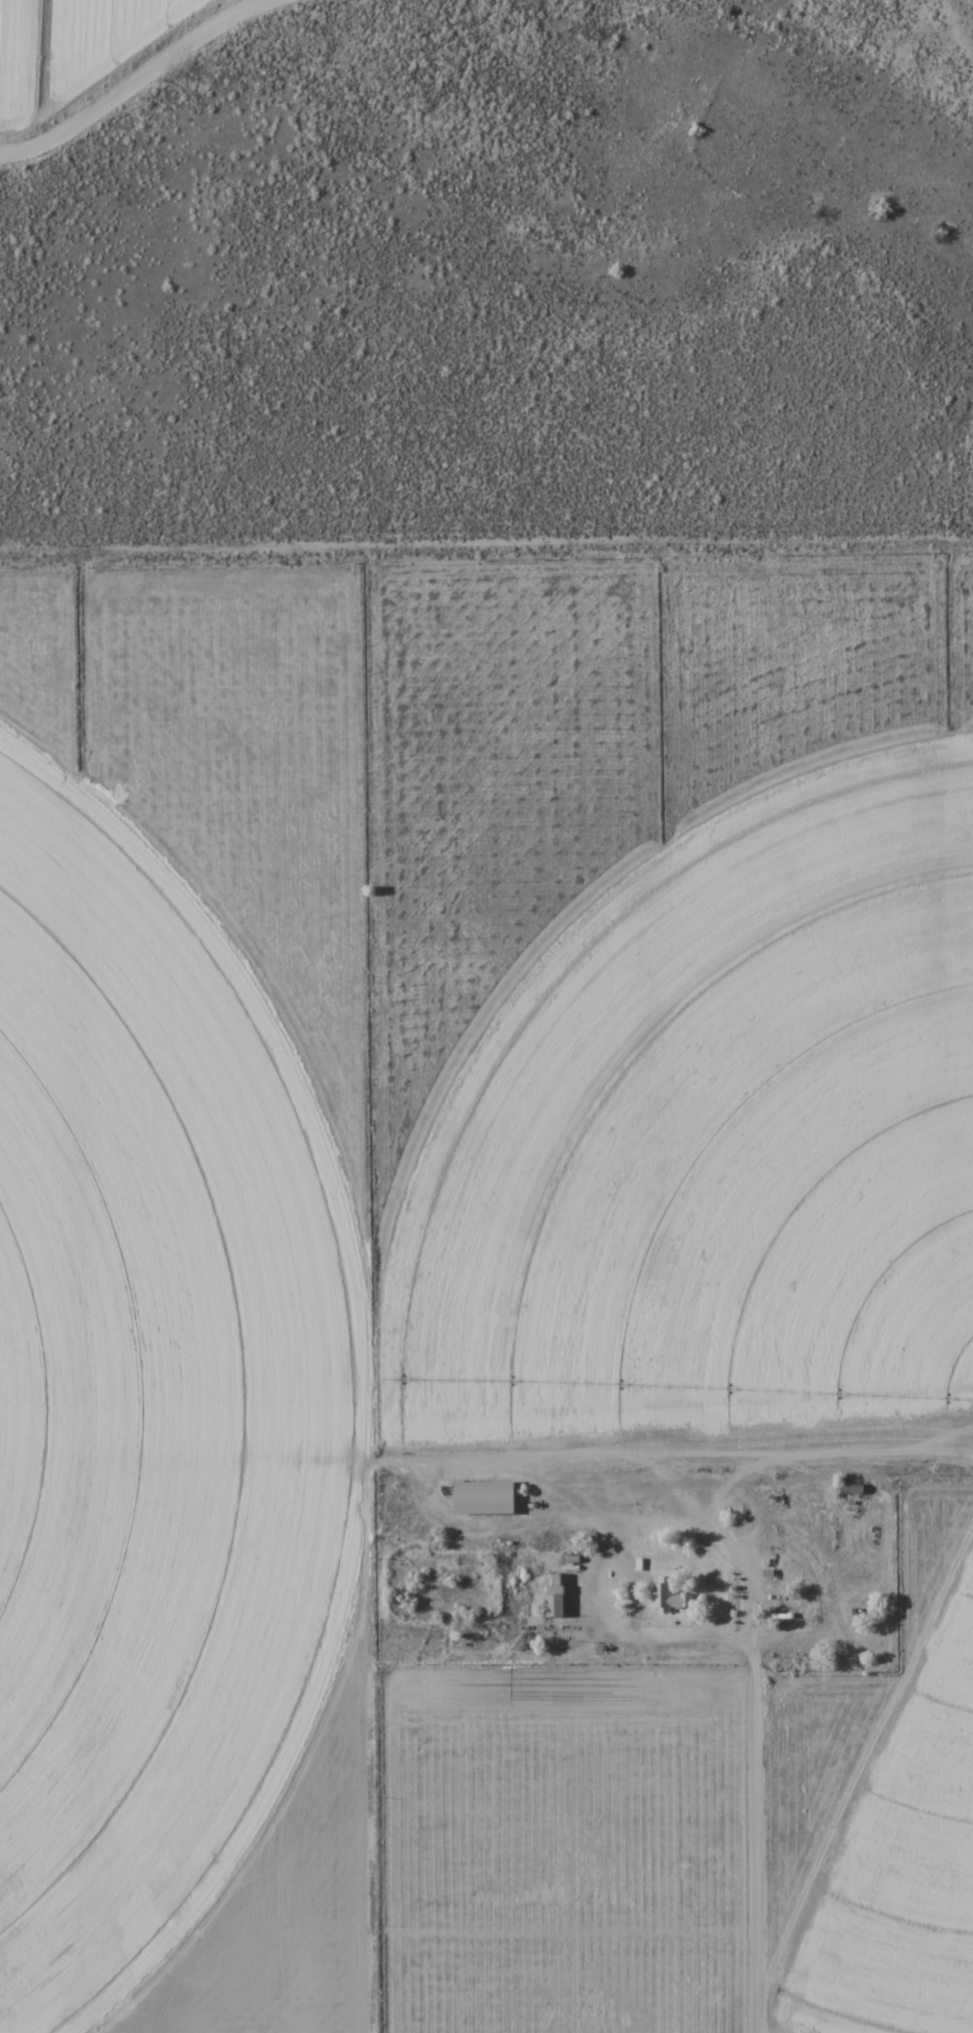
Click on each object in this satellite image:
building: (483, 1496)
building: (555, 1594)
building: (669, 1595)
road: (761, 1819)

